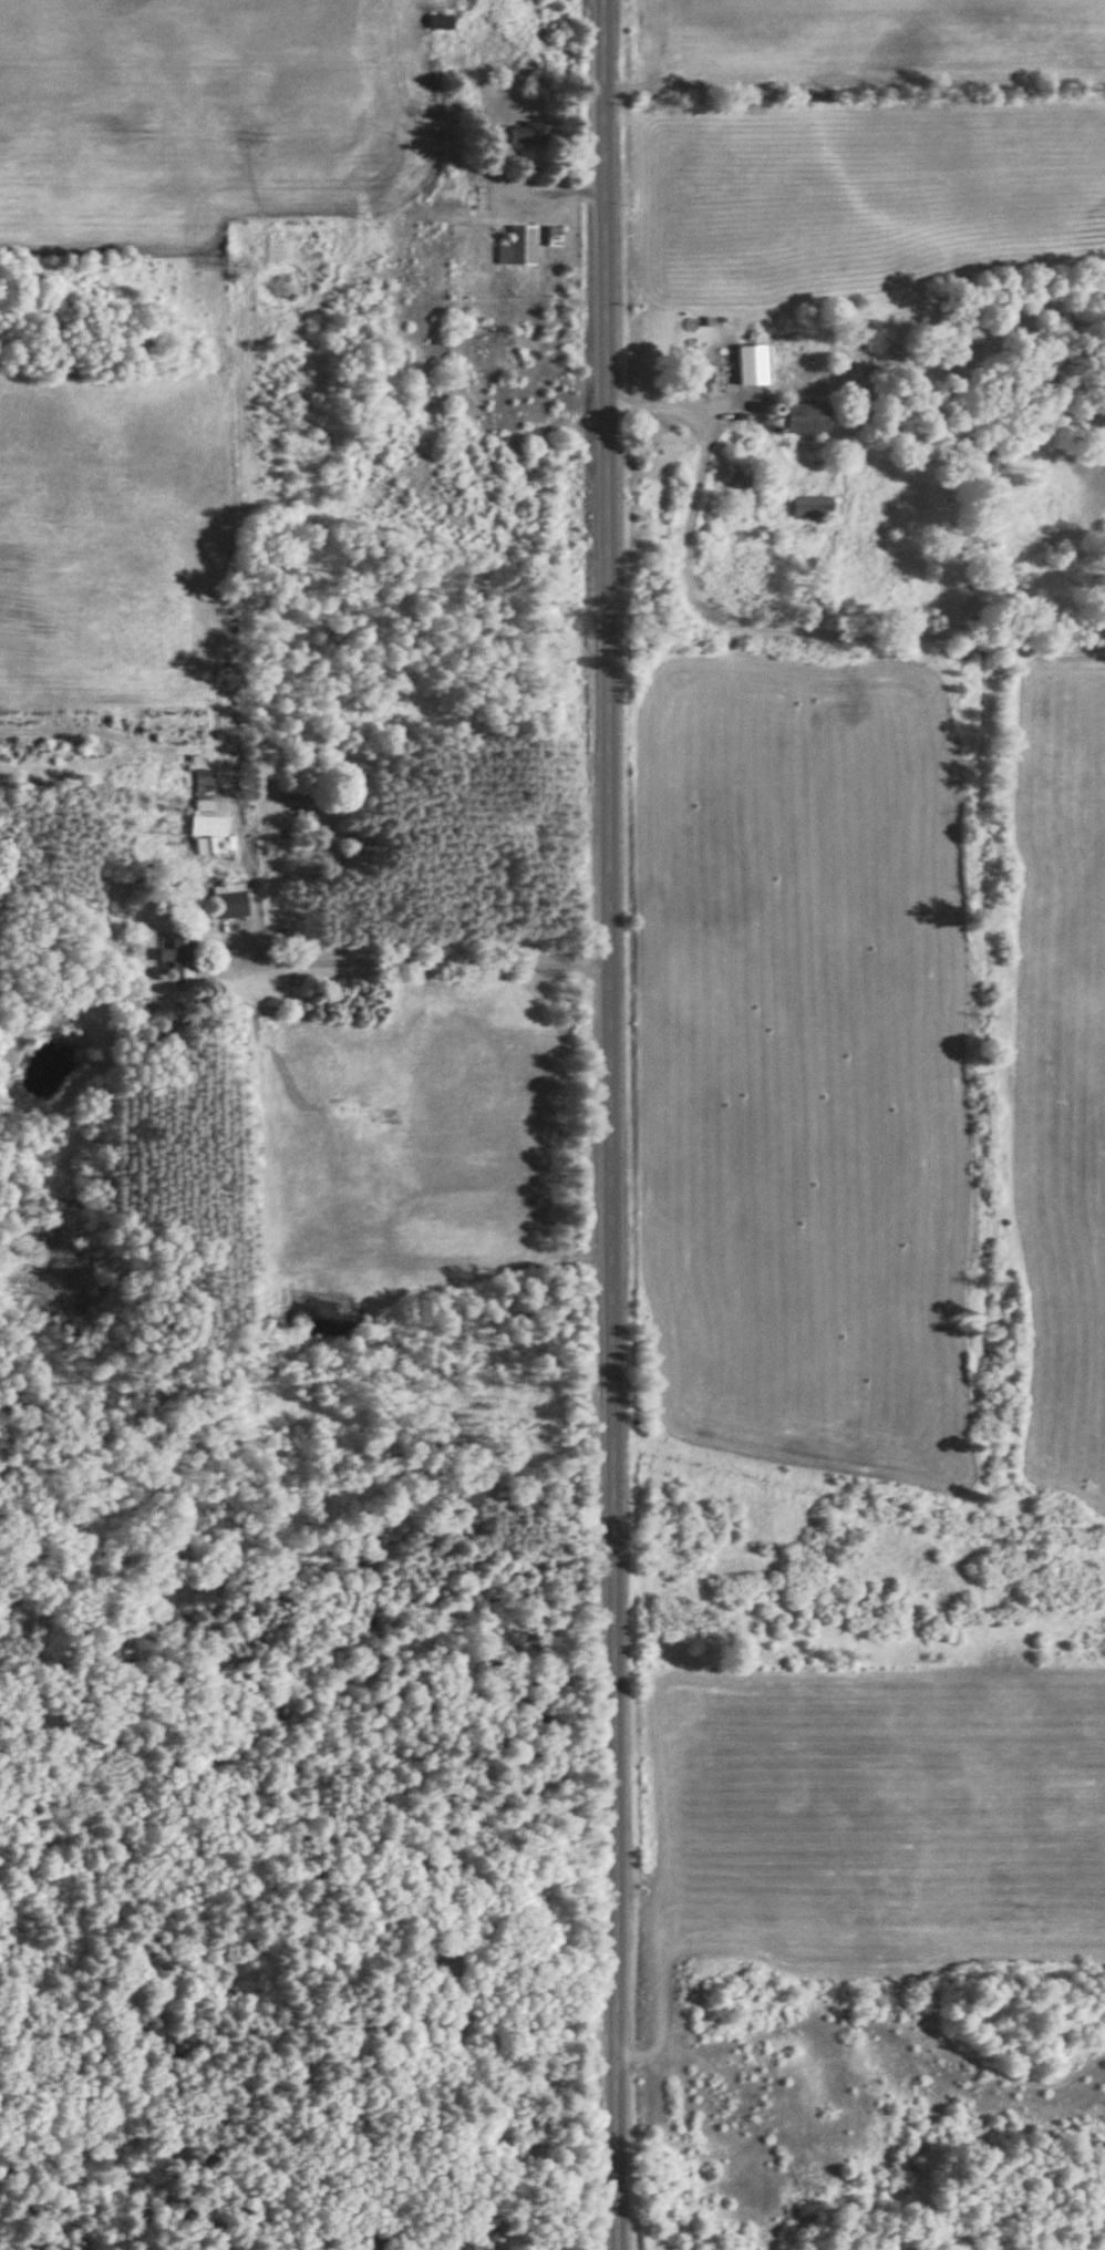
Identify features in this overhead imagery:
building: (440, 23)
road: (87, 35)
building: (529, 133)
building: (554, 236)
building: (517, 247)
building: (750, 372)
building: (804, 417)
building: (739, 481)
building: (812, 507)
road: (753, 627)
building: (208, 832)
building: (229, 901)
building: (178, 958)
road: (608, 1125)

